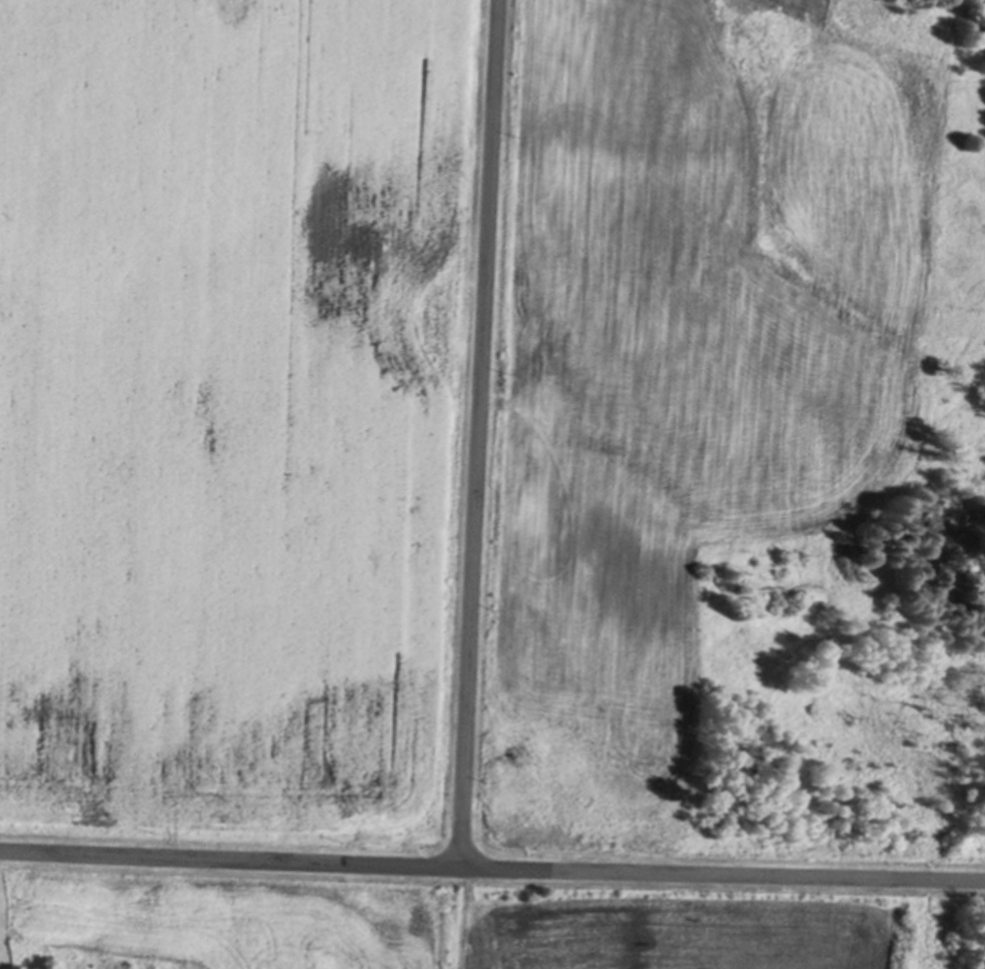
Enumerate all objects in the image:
road: (479, 432)
road: (492, 865)

